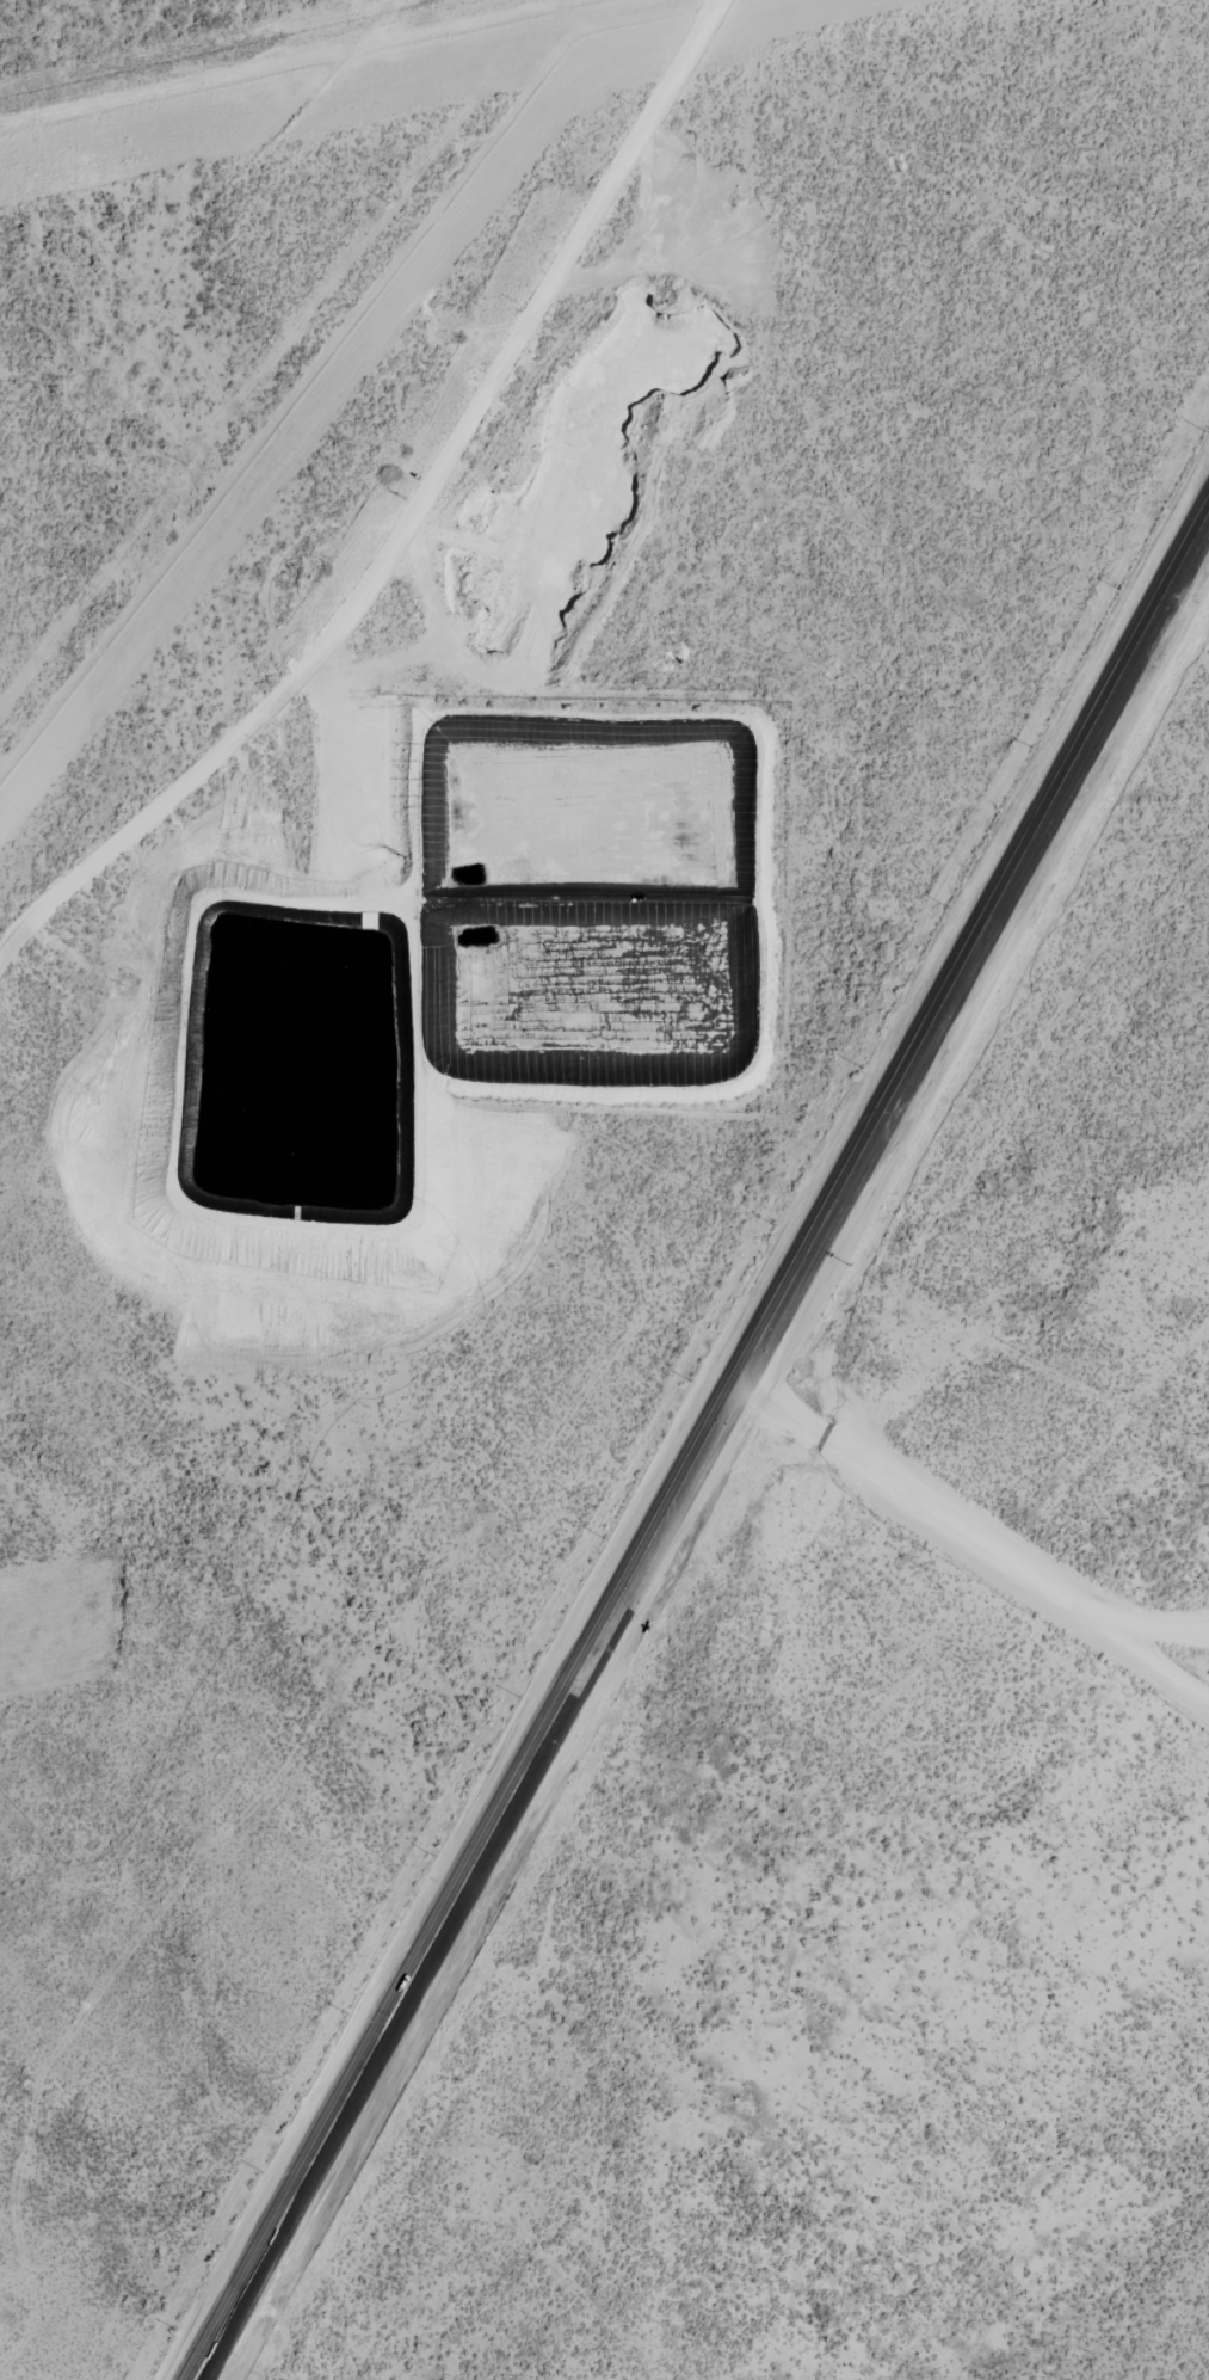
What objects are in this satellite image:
road: (443, 561)
road: (702, 1444)

